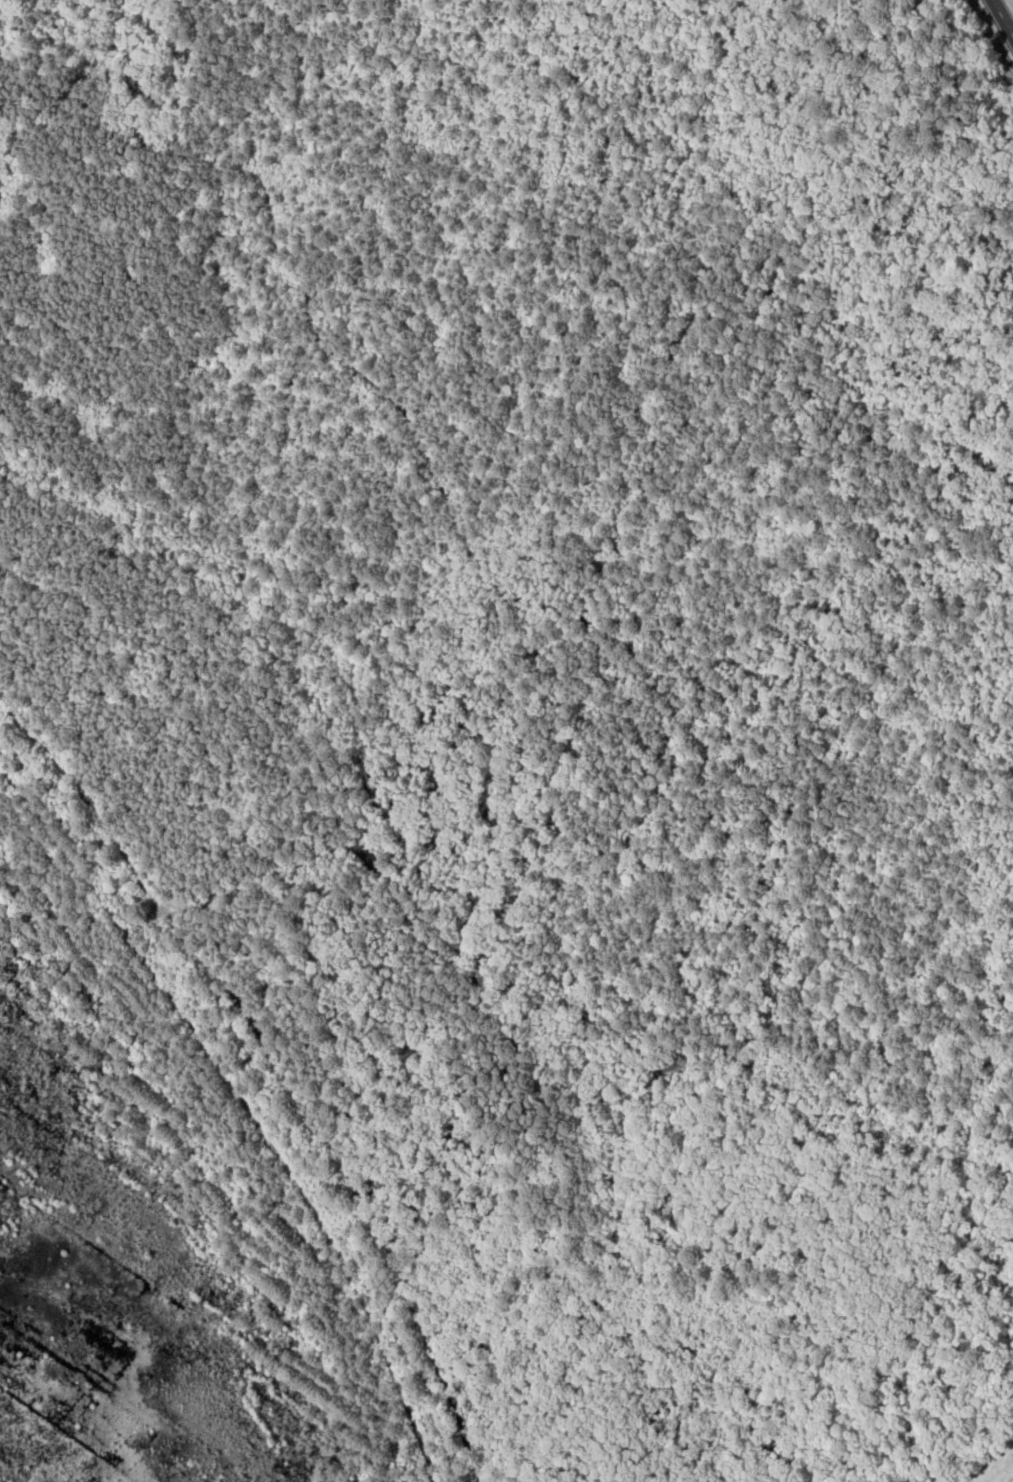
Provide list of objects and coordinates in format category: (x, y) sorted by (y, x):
road: (1004, 15)

